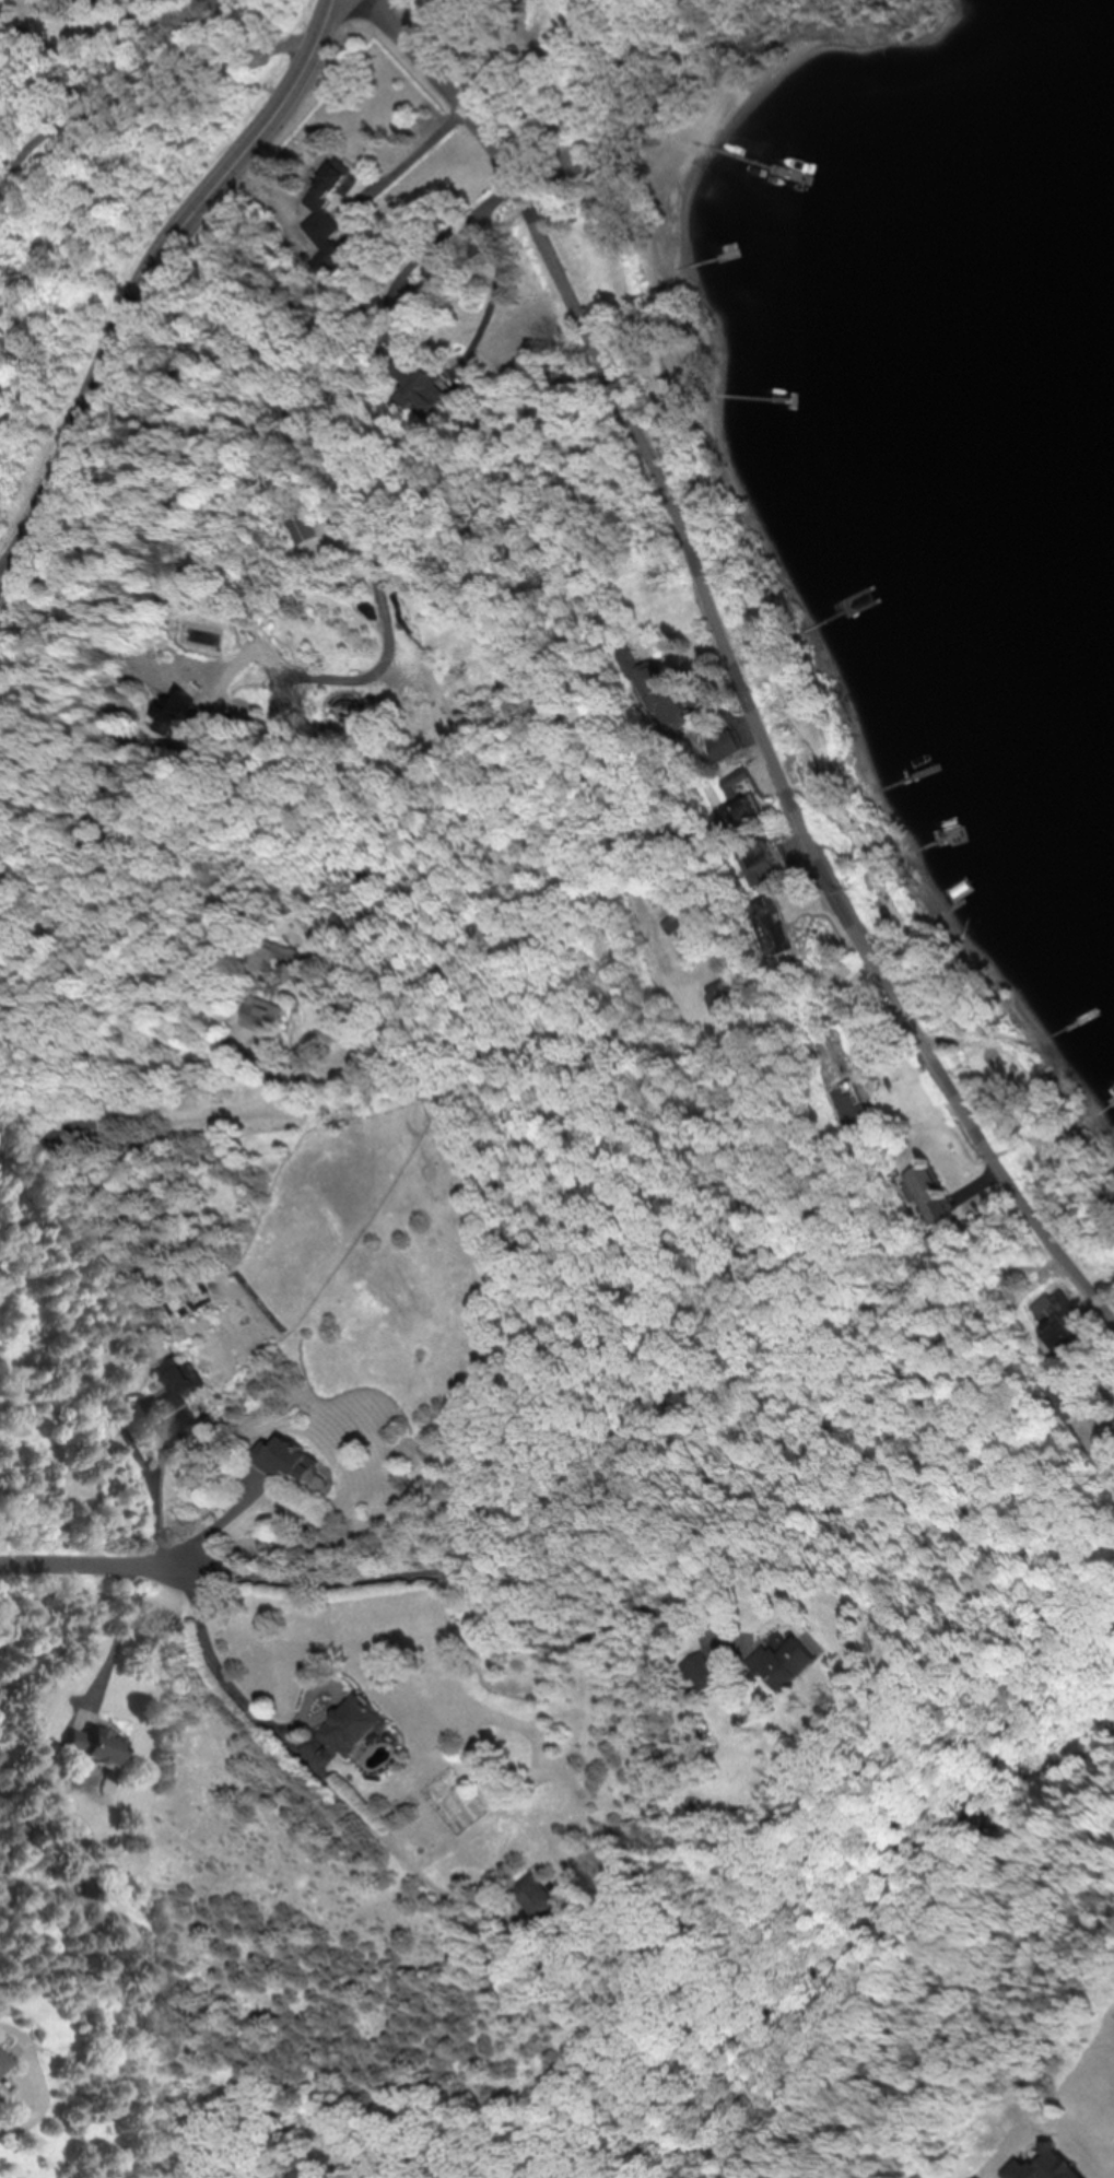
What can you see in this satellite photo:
road: (146, 90)
road: (412, 155)
building: (327, 187)
road: (142, 277)
road: (493, 305)
road: (337, 480)
building: (306, 526)
road: (734, 661)
building: (656, 692)
building: (180, 713)
building: (728, 743)
building: (740, 783)
building: (629, 803)
building: (762, 864)
building: (772, 925)
building: (279, 955)
building: (306, 976)
building: (727, 998)
building: (268, 1016)
building: (849, 1103)
road: (124, 1121)
building: (929, 1193)
building: (1056, 1321)
building: (174, 1386)
building: (1066, 1403)
building: (291, 1459)
road: (163, 1499)
road: (98, 1566)
road: (491, 1593)
road: (119, 1646)
building: (790, 1663)
building: (703, 1671)
building: (356, 1726)
building: (93, 1747)
road: (320, 1769)
building: (538, 1898)
building: (2, 2062)

